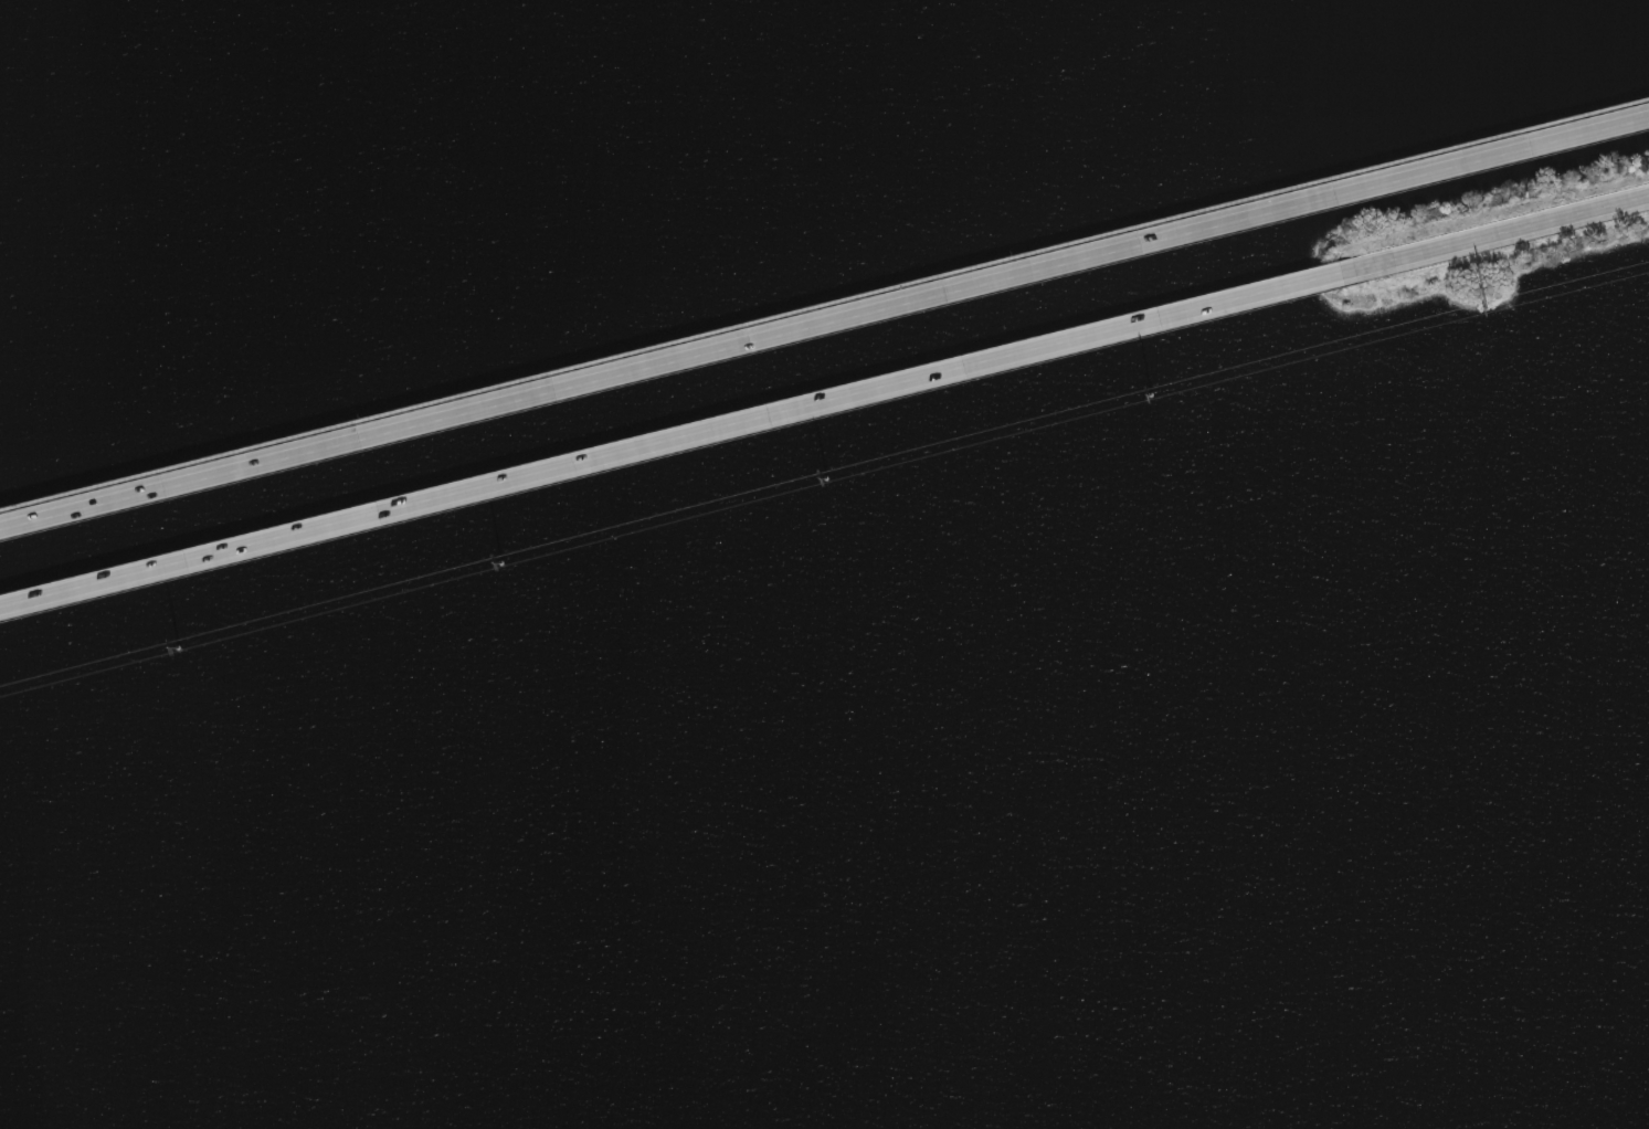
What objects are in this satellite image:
road: (1500, 229)
power tower: (1486, 310)
road: (824, 312)
road: (824, 320)
power tower: (1150, 398)
road: (675, 435)
power tower: (826, 481)
power tower: (500, 566)
power tower: (177, 650)

